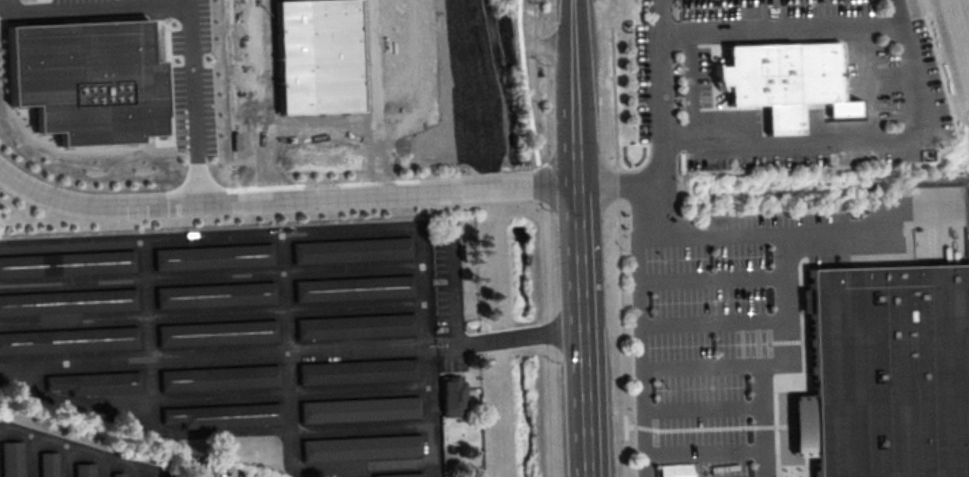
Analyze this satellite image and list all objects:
road: (519, 22)
road: (780, 30)
road: (569, 34)
road: (545, 45)
building: (316, 55)
road: (657, 76)
building: (88, 80)
building: (783, 80)
road: (867, 84)
road: (697, 91)
road: (196, 103)
road: (416, 112)
road: (573, 126)
road: (287, 138)
road: (859, 144)
road: (630, 181)
road: (284, 201)
road: (877, 231)
road: (717, 236)
building: (350, 249)
road: (619, 251)
building: (212, 256)
building: (67, 263)
road: (709, 281)
building: (352, 288)
building: (214, 294)
building: (67, 301)
road: (580, 313)
road: (453, 316)
road: (711, 323)
building: (354, 326)
building: (216, 332)
road: (556, 332)
road: (523, 337)
building: (68, 340)
road: (701, 369)
building: (356, 371)
building: (889, 372)
building: (218, 377)
building: (96, 382)
building: (451, 395)
road: (701, 408)
building: (358, 409)
building: (222, 416)
building: (360, 447)
road: (58, 448)
road: (702, 451)
building: (12, 459)
road: (585, 459)
building: (49, 464)
building: (85, 469)
building: (118, 474)
building: (398, 475)

